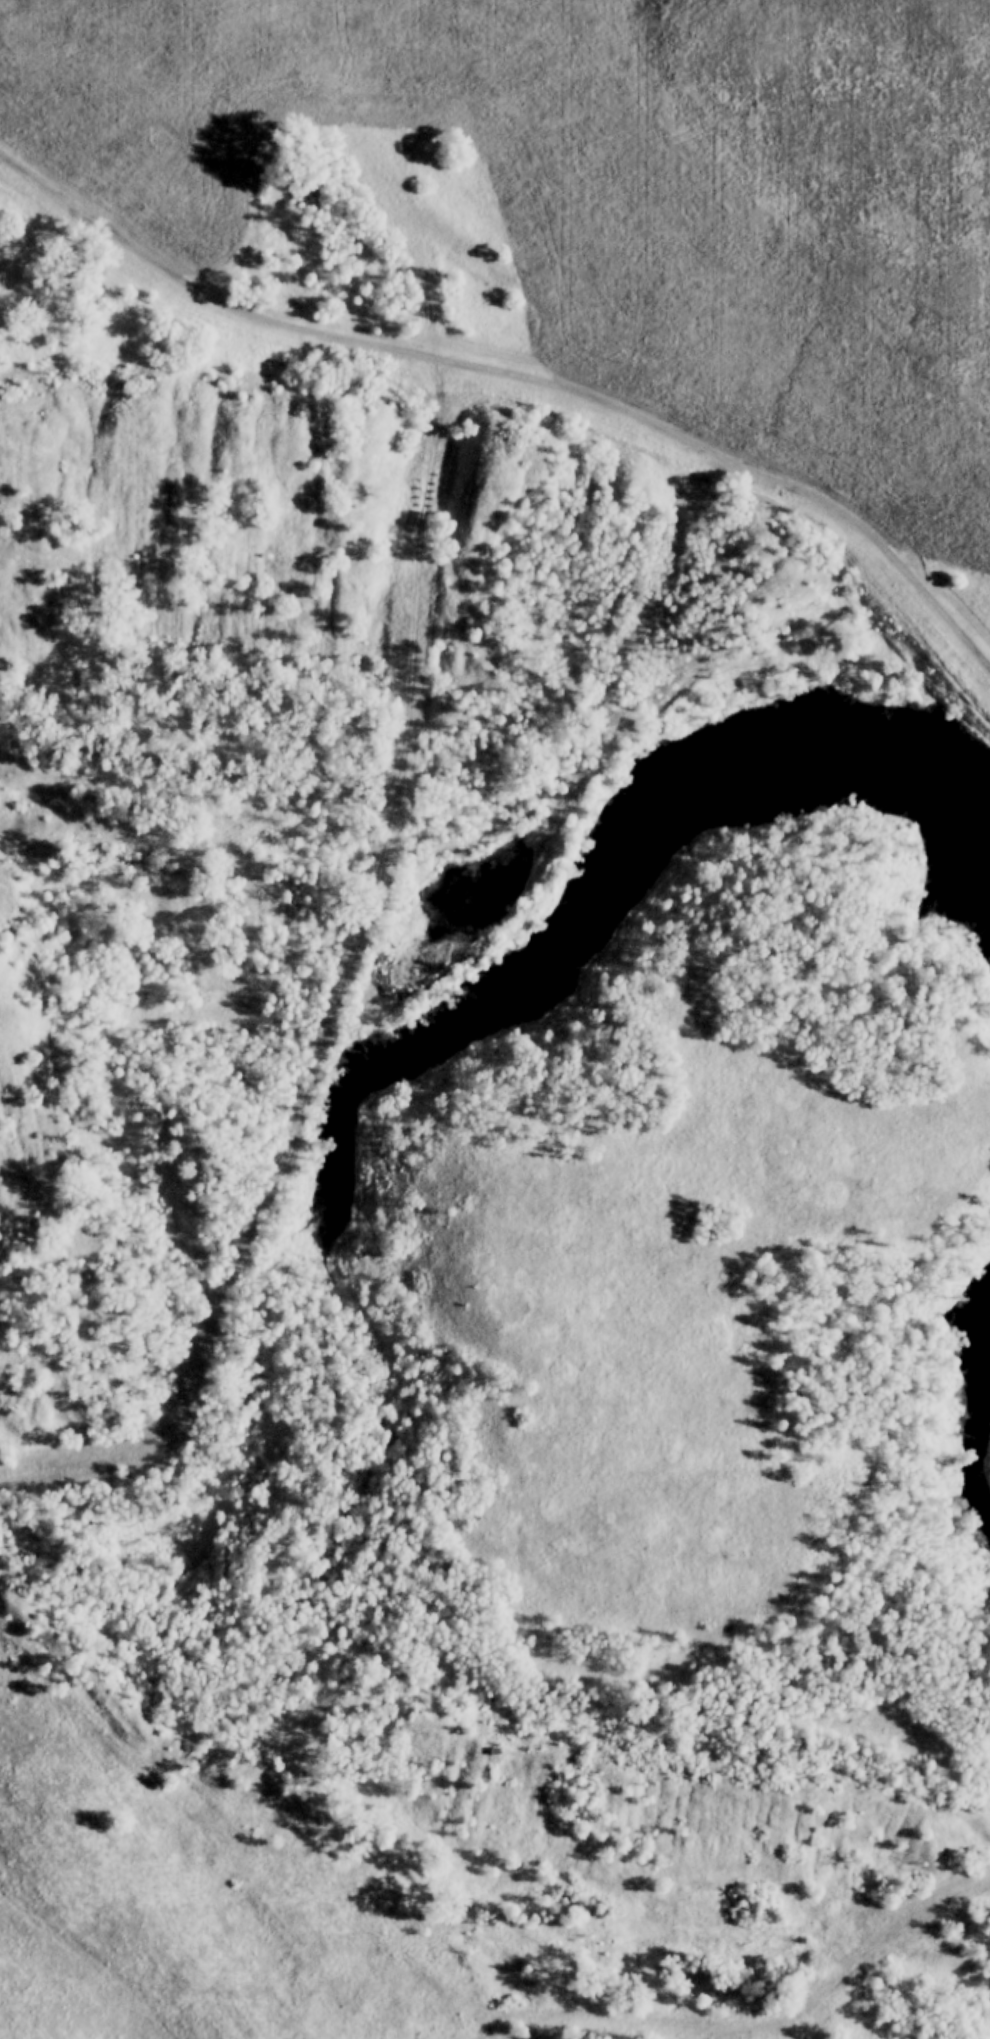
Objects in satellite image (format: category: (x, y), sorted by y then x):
road: (420, 300)
road: (516, 374)
road: (338, 993)
quarry: (472, 1159)
road: (247, 1993)
road: (757, 2024)

